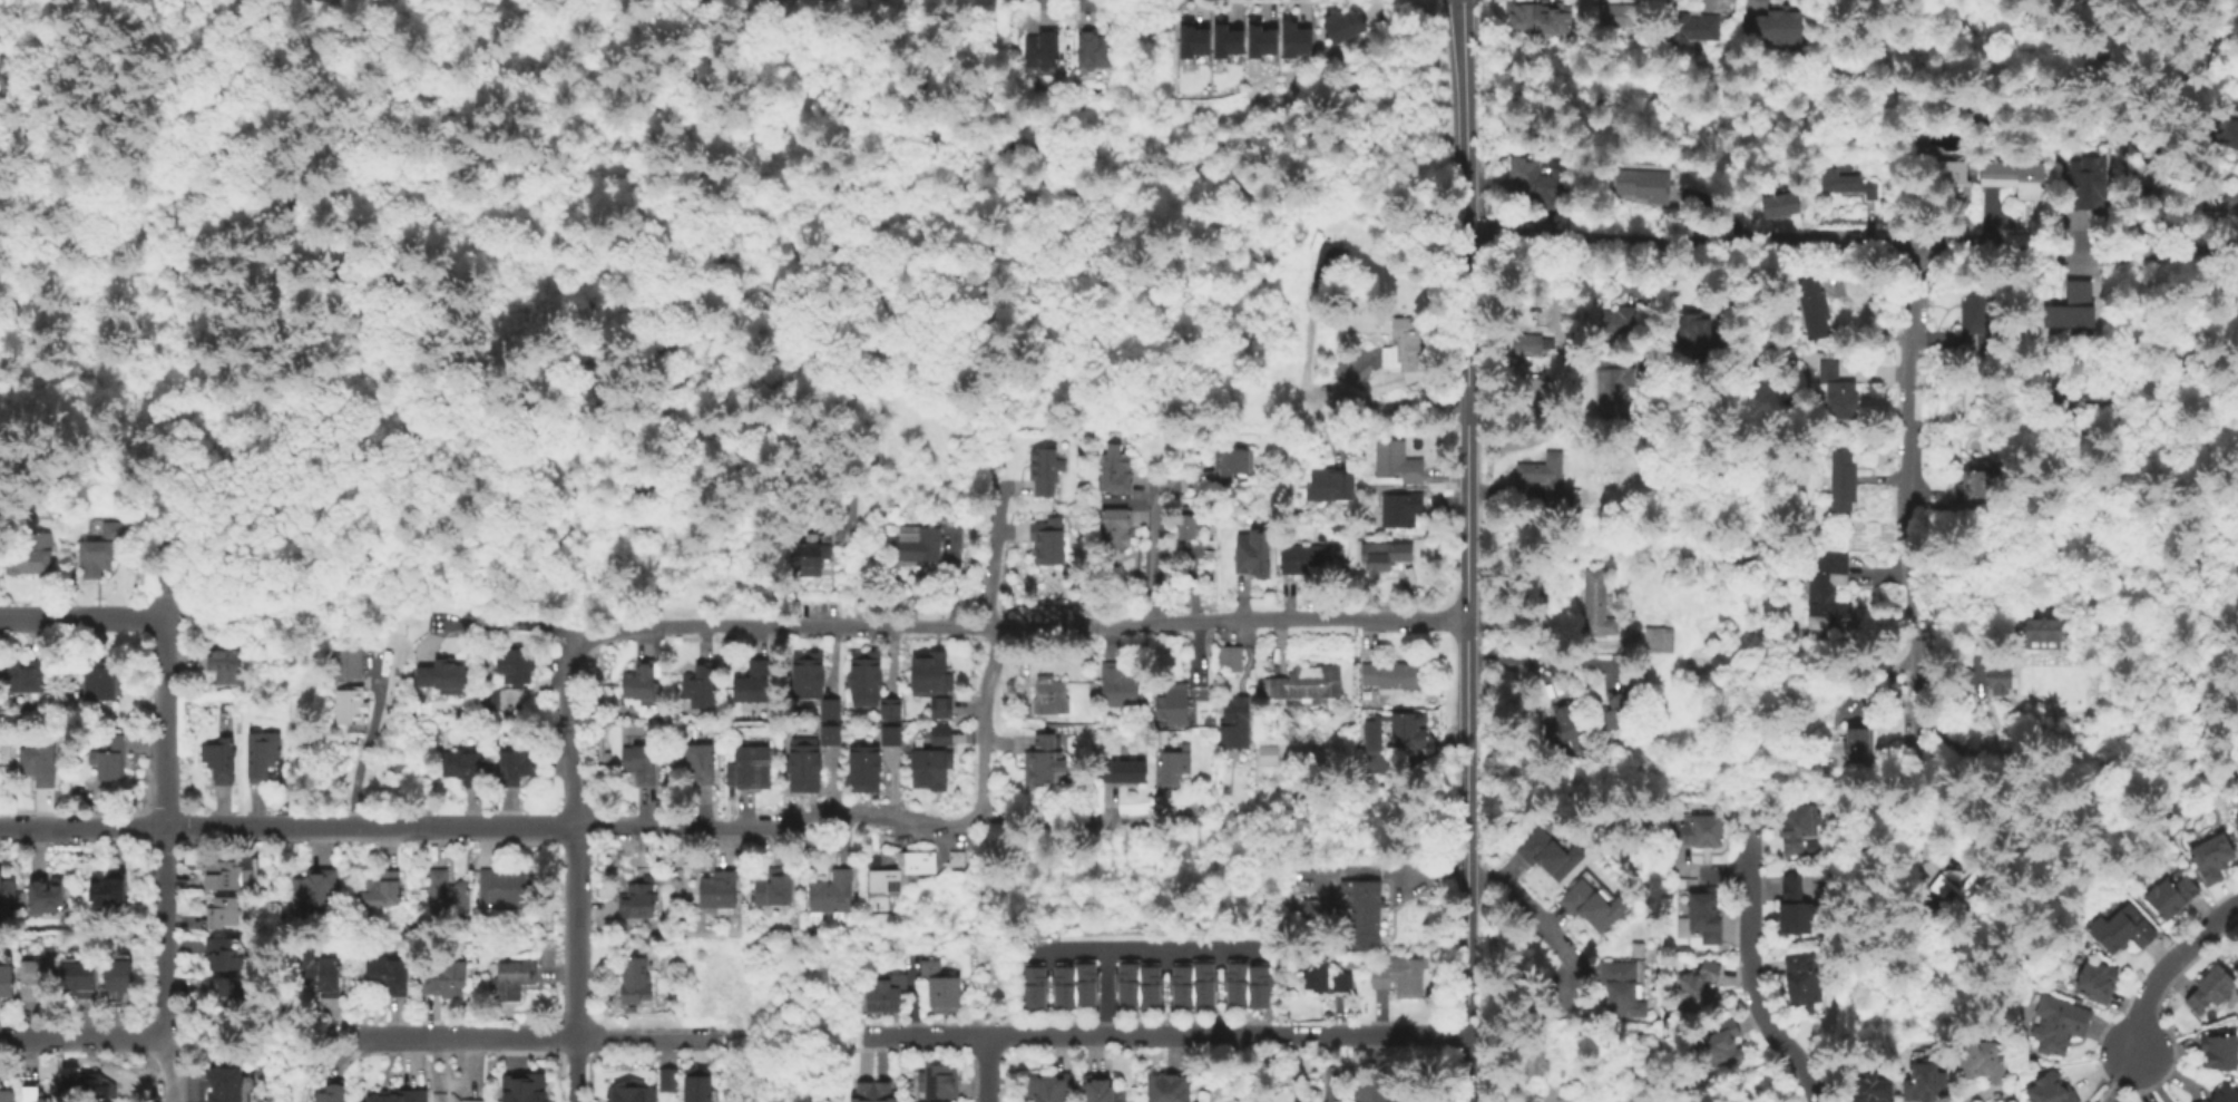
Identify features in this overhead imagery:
building: (1620, 17)
building: (1540, 18)
building: (1345, 23)
building: (1773, 27)
building: (1691, 28)
building: (1296, 33)
building: (1202, 35)
building: (1234, 35)
building: (1265, 35)
building: (1042, 48)
building: (1092, 48)
road: (1460, 78)
road: (479, 89)
building: (2228, 127)
building: (1956, 172)
building: (2017, 175)
building: (2160, 177)
building: (1540, 178)
building: (1849, 182)
building: (1645, 184)
building: (2085, 184)
building: (2220, 199)
building: (1777, 204)
road: (1850, 248)
building: (1329, 262)
road: (115, 304)
building: (1814, 305)
building: (1976, 310)
building: (1621, 319)
building: (1702, 325)
road: (752, 326)
building: (1987, 341)
building: (1401, 344)
building: (1533, 345)
building: (1616, 387)
building: (1532, 392)
building: (1839, 392)
road: (1397, 404)
building: (1230, 461)
building: (1399, 461)
building: (1045, 469)
building: (1115, 471)
building: (1551, 479)
building: (1844, 479)
building: (1332, 486)
building: (1976, 486)
building: (844, 507)
building: (1403, 508)
road: (1914, 514)
building: (1115, 526)
building: (1188, 526)
building: (919, 543)
building: (1047, 543)
building: (100, 548)
road: (995, 552)
building: (1254, 555)
building: (1386, 555)
road: (1152, 556)
building: (807, 558)
building: (26, 559)
building: (1307, 560)
building: (1827, 589)
building: (1599, 603)
road: (82, 620)
road: (505, 625)
road: (1018, 625)
road: (1465, 630)
building: (2037, 635)
building: (1664, 638)
building: (1230, 657)
road: (1545, 659)
building: (349, 662)
building: (226, 664)
building: (515, 666)
building: (929, 675)
building: (1394, 676)
building: (26, 677)
building: (443, 677)
building: (807, 677)
building: (863, 680)
building: (101, 681)
building: (2001, 681)
building: (753, 682)
building: (1307, 684)
building: (1121, 685)
building: (701, 686)
building: (641, 687)
building: (1050, 695)
building: (489, 701)
building: (1174, 708)
building: (351, 709)
building: (939, 710)
building: (829, 711)
building: (887, 711)
building: (1296, 712)
building: (1618, 712)
road: (983, 722)
building: (1564, 724)
building: (1238, 728)
road: (564, 730)
building: (1407, 732)
building: (939, 735)
building: (1370, 735)
building: (830, 737)
building: (890, 737)
building: (1860, 743)
building: (1269, 755)
building: (94, 759)
building: (113, 759)
building: (219, 759)
building: (262, 759)
building: (697, 761)
building: (38, 762)
building: (639, 762)
building: (1044, 763)
building: (516, 765)
building: (752, 765)
building: (802, 765)
building: (1174, 765)
building: (465, 769)
building: (864, 769)
building: (927, 770)
building: (1125, 771)
road: (1984, 808)
building: (1797, 826)
road: (286, 828)
road: (1012, 828)
road: (165, 829)
road: (715, 830)
building: (1702, 831)
road: (2075, 850)
building: (1551, 855)
building: (2215, 856)
building: (1367, 861)
building: (229, 875)
building: (886, 880)
building: (1963, 884)
building: (508, 887)
building: (382, 888)
building: (717, 888)
building: (775, 888)
building: (1600, 888)
building: (314, 890)
road: (2142, 890)
building: (107, 893)
building: (830, 894)
building: (7, 895)
building: (448, 895)
building: (2175, 895)
building: (45, 897)
building: (636, 900)
building: (1585, 903)
building: (1795, 906)
road: (1527, 908)
building: (1317, 909)
building: (224, 911)
building: (1369, 914)
building: (1707, 917)
building: (2122, 927)
road: (574, 932)
road: (1143, 947)
building: (2237, 948)
building: (224, 953)
building: (123, 956)
road: (2163, 968)
road: (1750, 969)
building: (390, 973)
building: (323, 975)
building: (36, 977)
building: (1401, 977)
building: (79, 978)
building: (514, 978)
building: (4, 979)
building: (119, 979)
building: (634, 979)
building: (1328, 979)
building: (448, 981)
building: (1086, 982)
building: (1127, 982)
building: (1204, 982)
building: (1237, 982)
building: (1805, 982)
building: (2099, 982)
building: (1035, 985)
building: (1150, 985)
building: (1182, 985)
building: (1064, 986)
building: (1259, 986)
building: (1700, 987)
building: (226, 988)
building: (1623, 988)
building: (2215, 991)
building: (940, 992)
building: (885, 995)
building: (2060, 1024)
road: (1372, 1033)
road: (1135, 1035)
road: (926, 1037)
road: (466, 1038)
building: (1606, 1038)
road: (82, 1040)
road: (646, 1040)
building: (1722, 1044)
road: (790, 1047)
building: (2221, 1051)
building: (1537, 1059)
building: (1984, 1061)
road: (1325, 1067)
road: (575, 1070)
road: (988, 1070)
road: (165, 1071)
road: (2140, 1077)
building: (667, 1081)
building: (939, 1083)
building: (1927, 1083)
building: (225, 1084)
building: (696, 1084)
building: (1050, 1086)
building: (98, 1088)
building: (1169, 1088)
building: (1102, 1089)
building: (522, 1090)
building: (1875, 1090)
building: (2052, 1090)
building: (873, 1092)
building: (333, 1093)
building: (35, 1094)
building: (2226, 1094)
building: (8, 1095)
building: (629, 1095)
building: (400, 1098)
building: (473, 1100)

